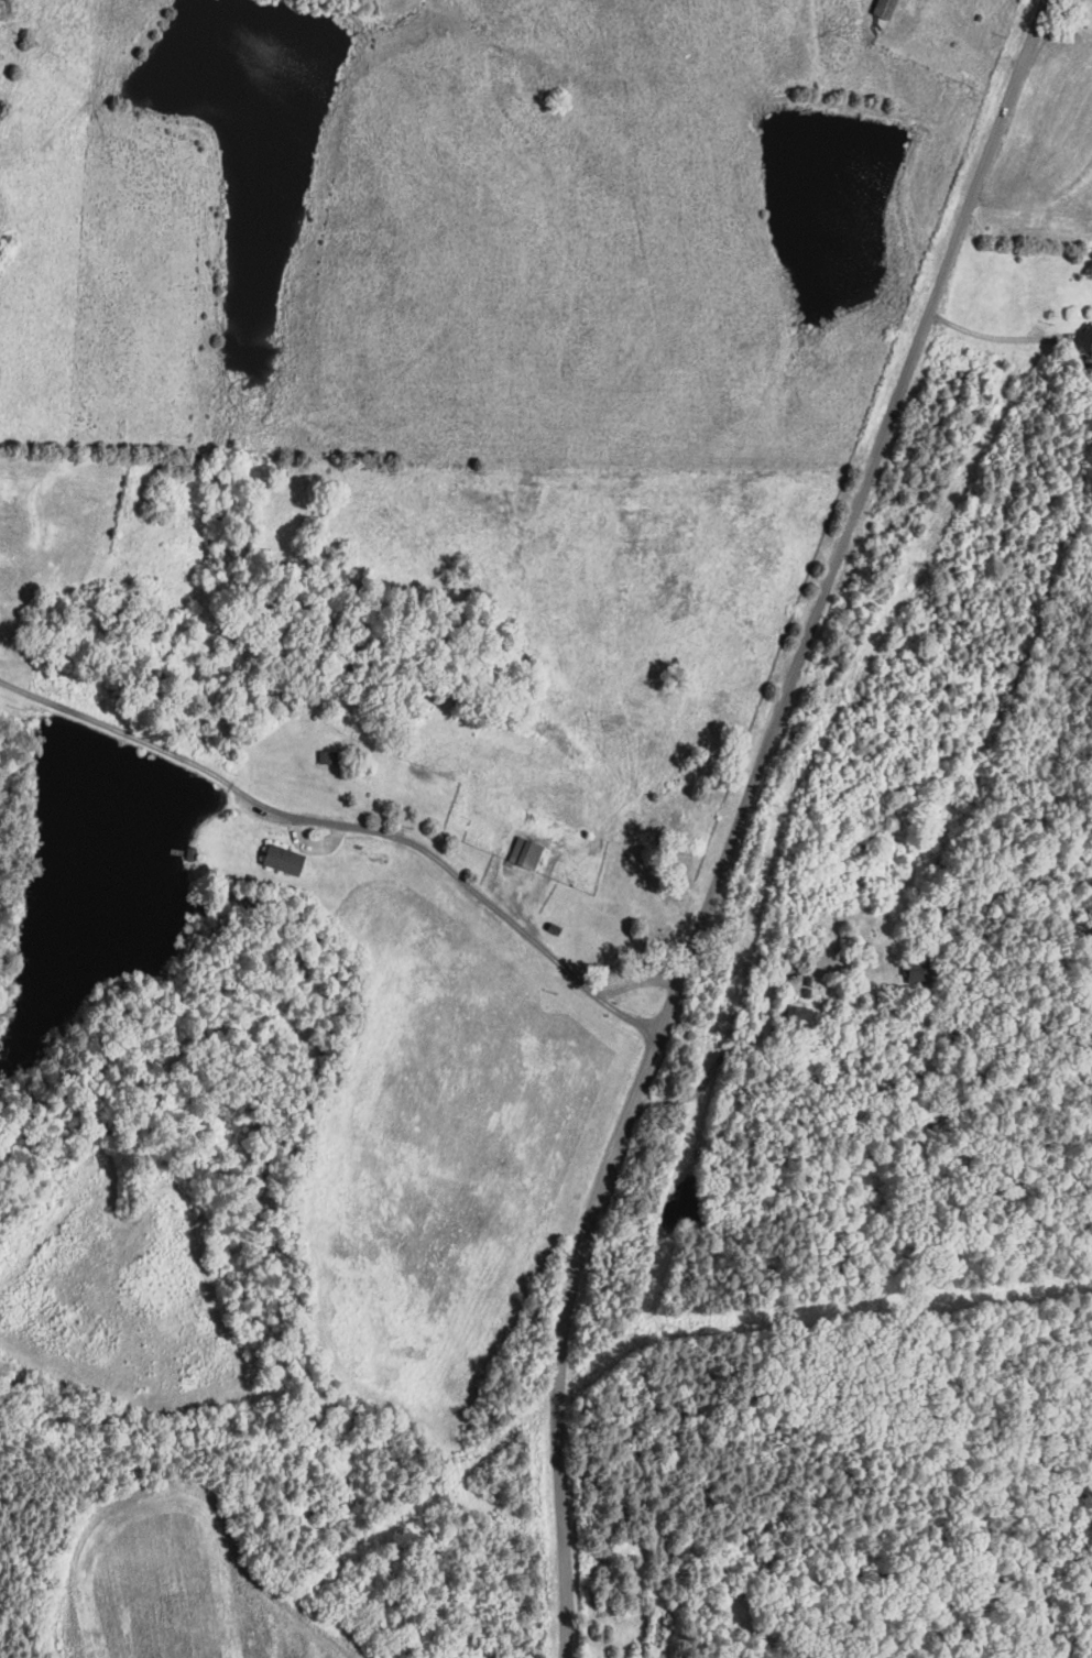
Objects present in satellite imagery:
building: (880, 8)
road: (1007, 338)
building: (331, 755)
road: (738, 816)
road: (348, 826)
building: (287, 858)

